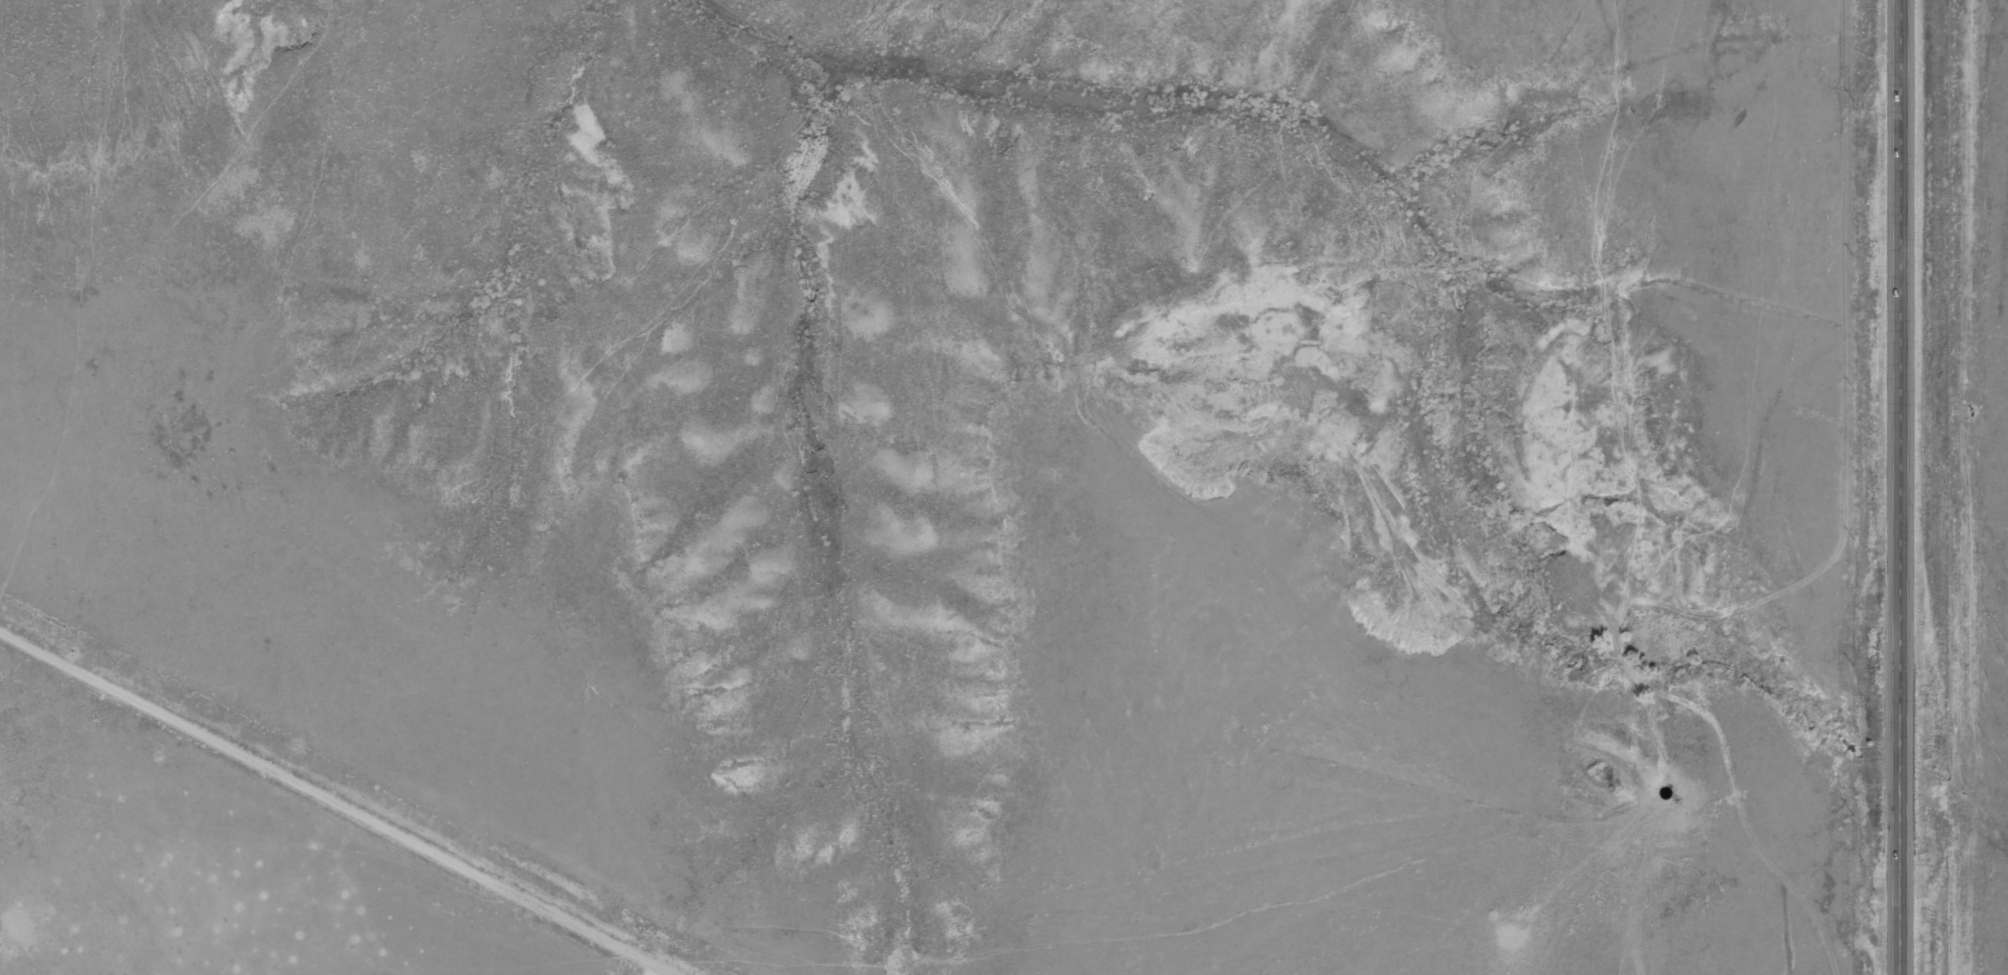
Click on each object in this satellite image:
road: (1907, 487)
road: (342, 802)

